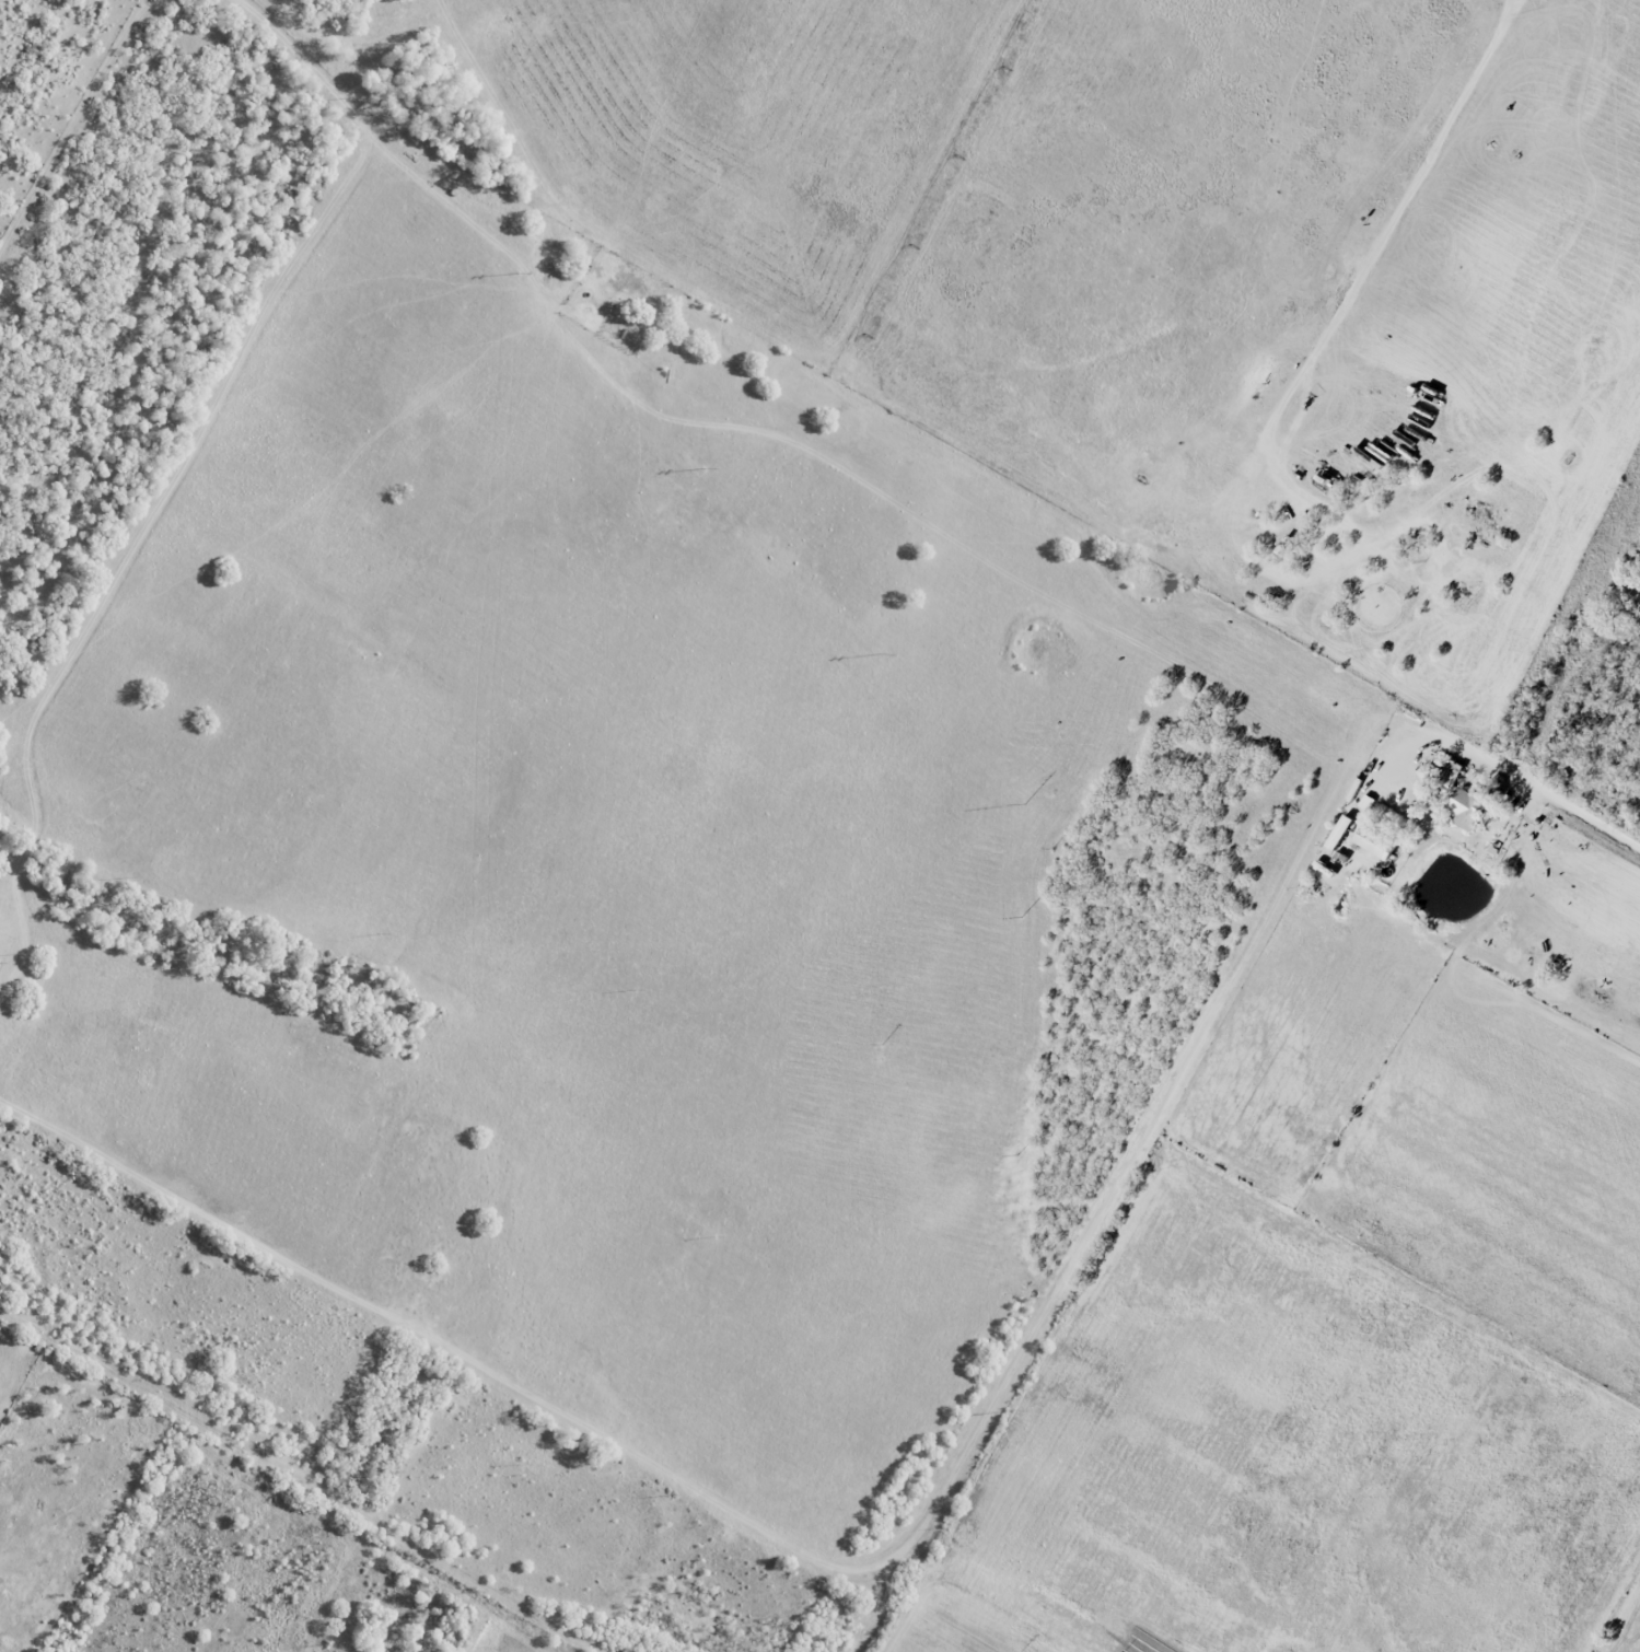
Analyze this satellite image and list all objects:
power tower: (351, 101)
power tower: (521, 274)
power tower: (707, 467)
power tower: (883, 653)
road: (1401, 749)
building: (1450, 778)
building: (1366, 803)
power tower: (1026, 804)
building: (1466, 807)
building: (1338, 833)
building: (1373, 842)
power tower: (1023, 918)
power tower: (1020, 1155)
power tower: (1014, 1411)
road: (957, 1447)

